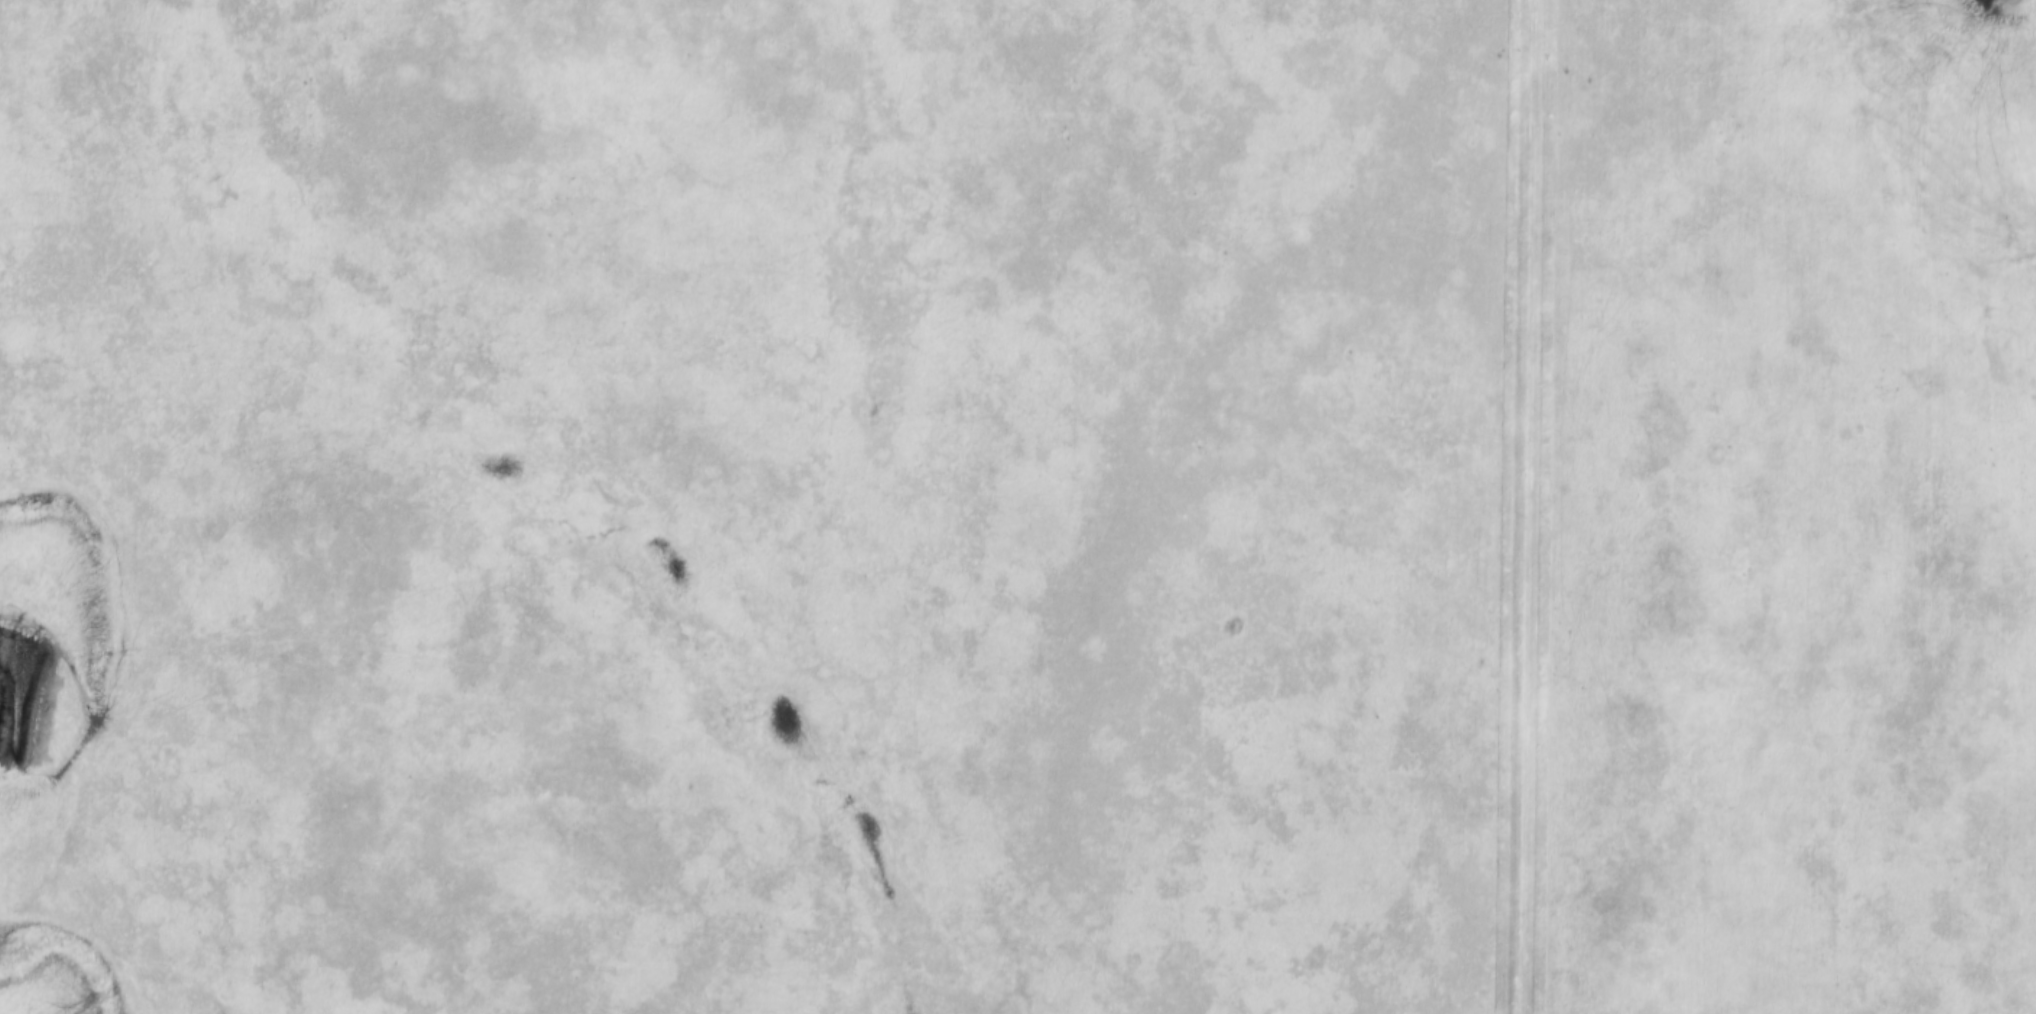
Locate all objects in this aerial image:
road: (1534, 506)

